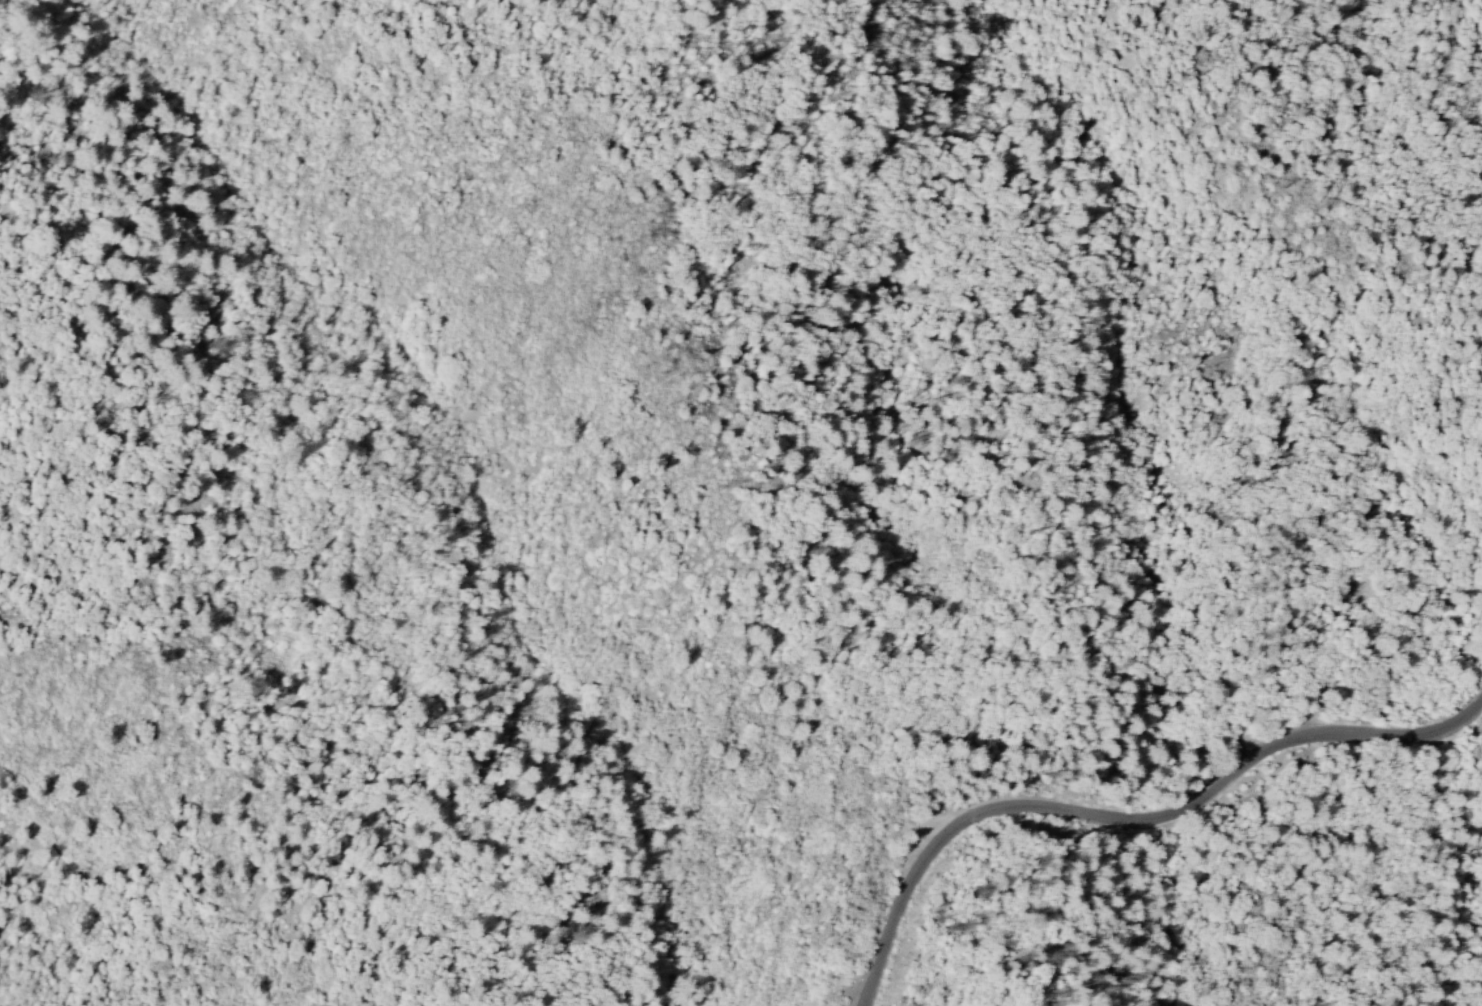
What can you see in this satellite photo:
road: (1133, 814)

